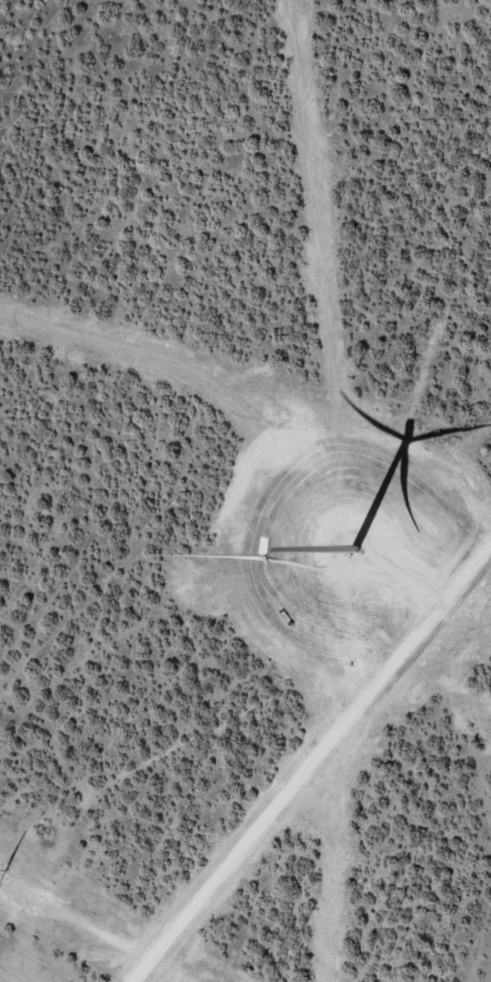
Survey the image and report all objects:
wind turbine: (356, 537)

